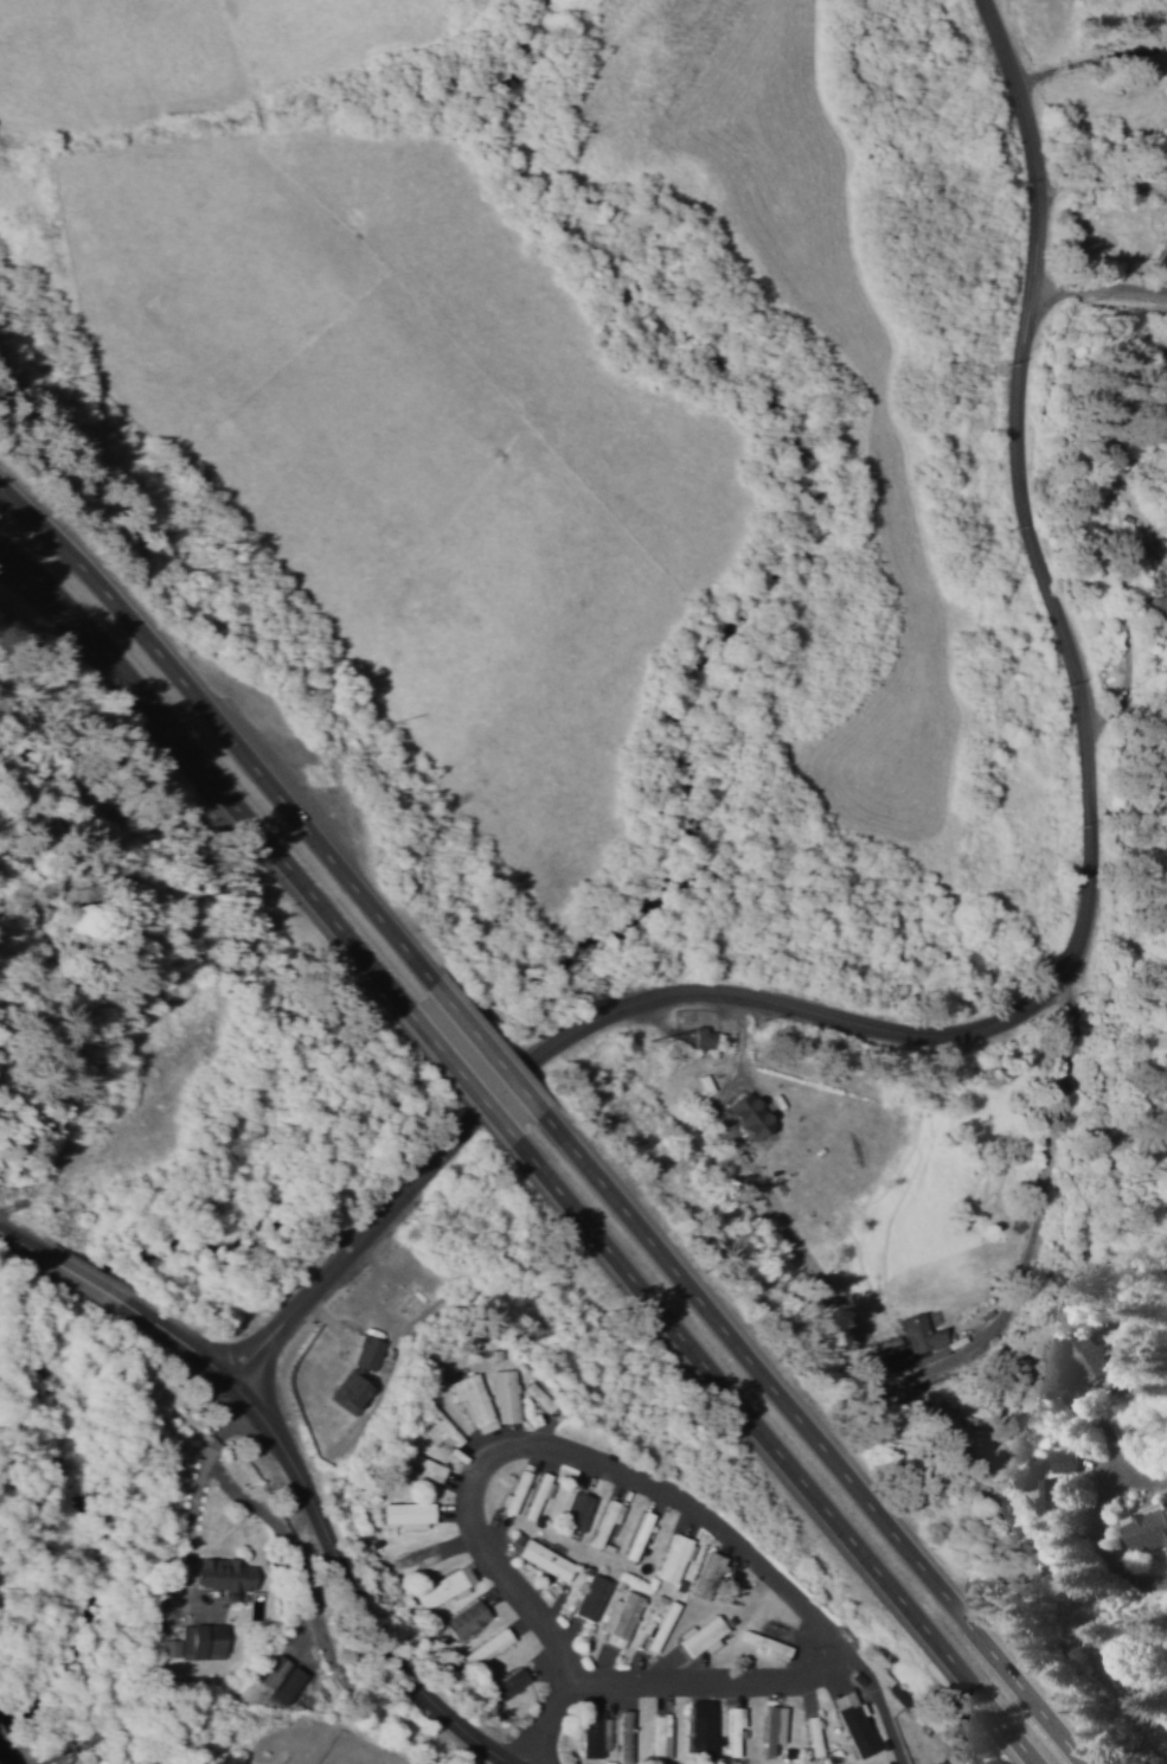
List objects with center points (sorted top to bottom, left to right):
road: (1098, 285)
road: (1018, 465)
building: (1162, 606)
road: (218, 726)
road: (203, 766)
road: (609, 1010)
building: (698, 1037)
road: (488, 1055)
road: (462, 1084)
road: (1067, 1095)
building: (745, 1114)
road: (25, 1244)
road: (85, 1279)
building: (919, 1337)
building: (365, 1351)
building: (1089, 1361)
building: (350, 1388)
building: (501, 1395)
building: (534, 1396)
building: (469, 1400)
building: (436, 1429)
road: (820, 1447)
building: (1063, 1458)
road: (781, 1463)
building: (419, 1464)
road: (1147, 1474)
road: (640, 1482)
building: (511, 1493)
building: (536, 1493)
building: (1050, 1494)
building: (575, 1511)
building: (403, 1514)
building: (604, 1520)
road: (322, 1525)
building: (1147, 1528)
building: (671, 1557)
building: (540, 1559)
building: (704, 1574)
building: (222, 1576)
building: (442, 1587)
building: (590, 1597)
building: (463, 1618)
building: (620, 1618)
building: (659, 1625)
building: (699, 1635)
building: (195, 1642)
building: (764, 1645)
building: (485, 1647)
building: (268, 1672)
building: (506, 1683)
road: (547, 1720)
building: (852, 1724)
building: (769, 1726)
building: (731, 1728)
railway: (269, 1731)
building: (660, 1733)
building: (623, 1734)
building: (700, 1734)
building: (592, 1736)

